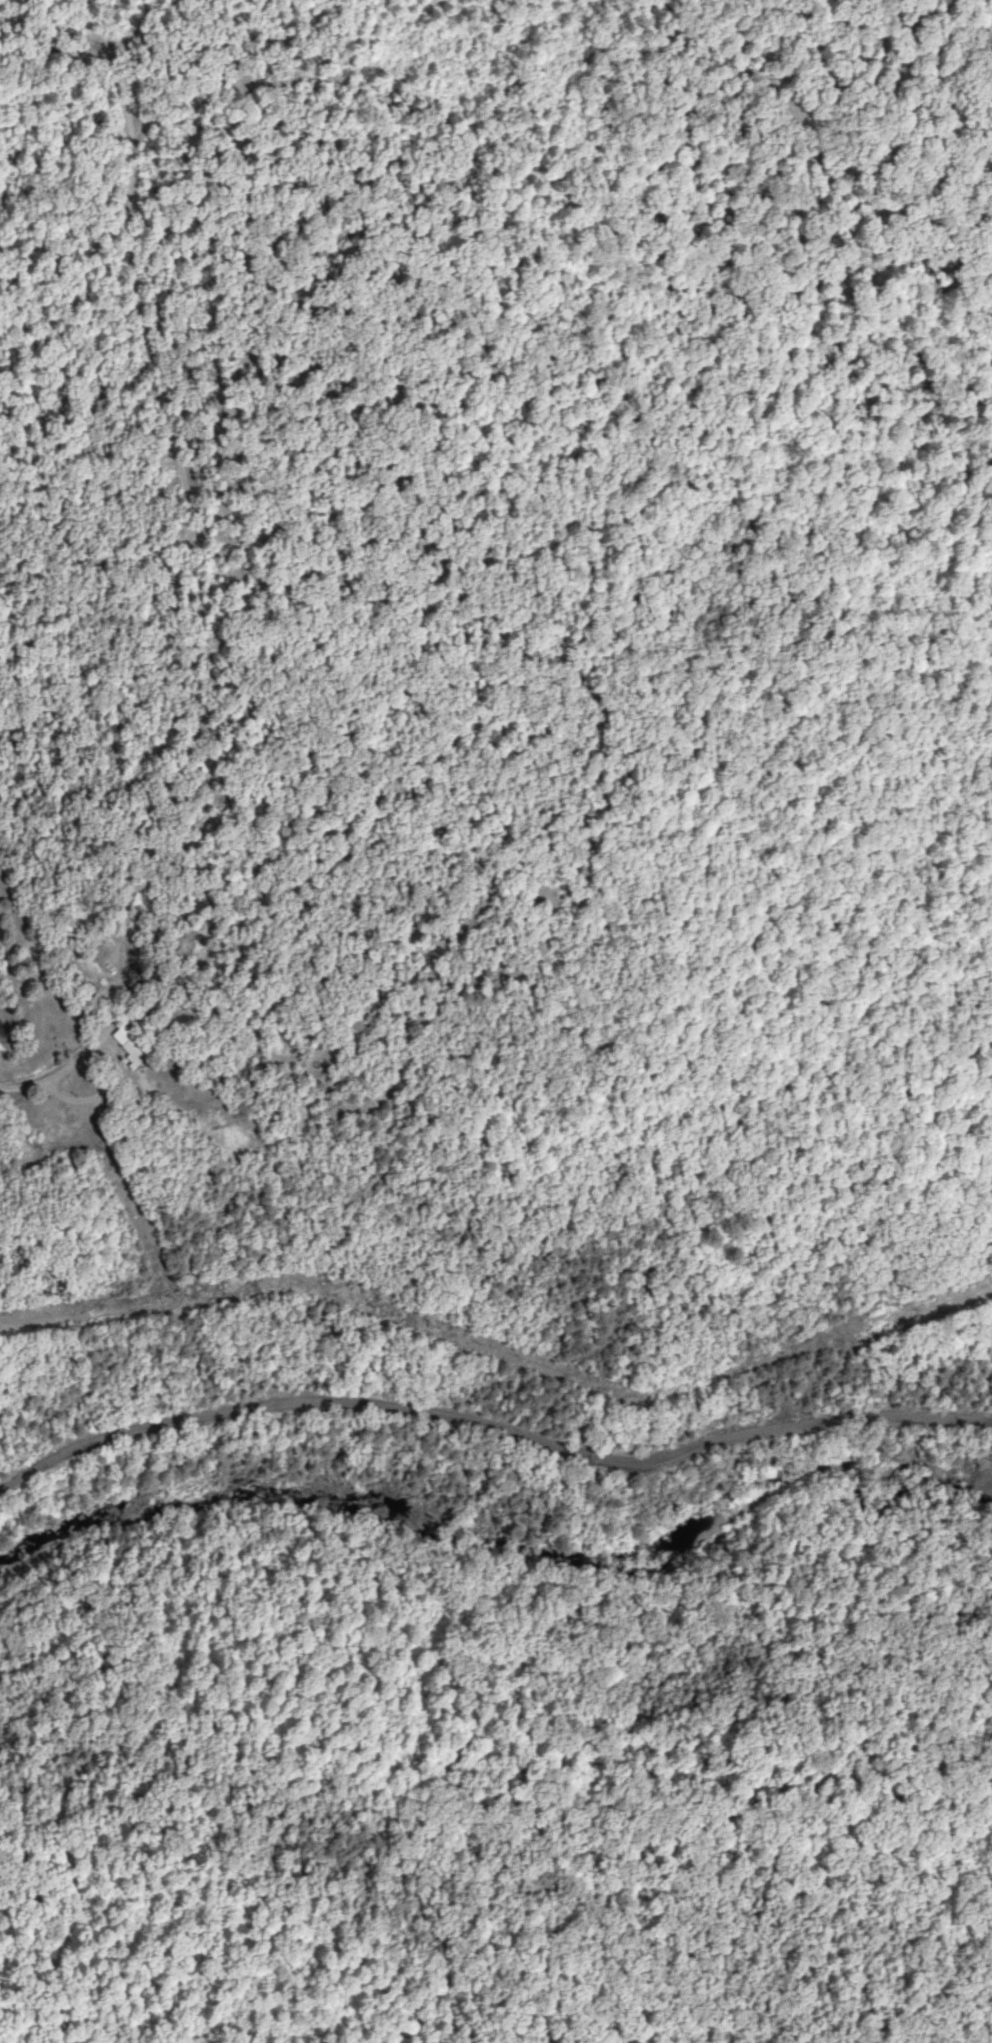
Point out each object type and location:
building: (142, 894)
building: (136, 1049)
road: (51, 1072)
road: (490, 1438)
road: (596, 1833)

